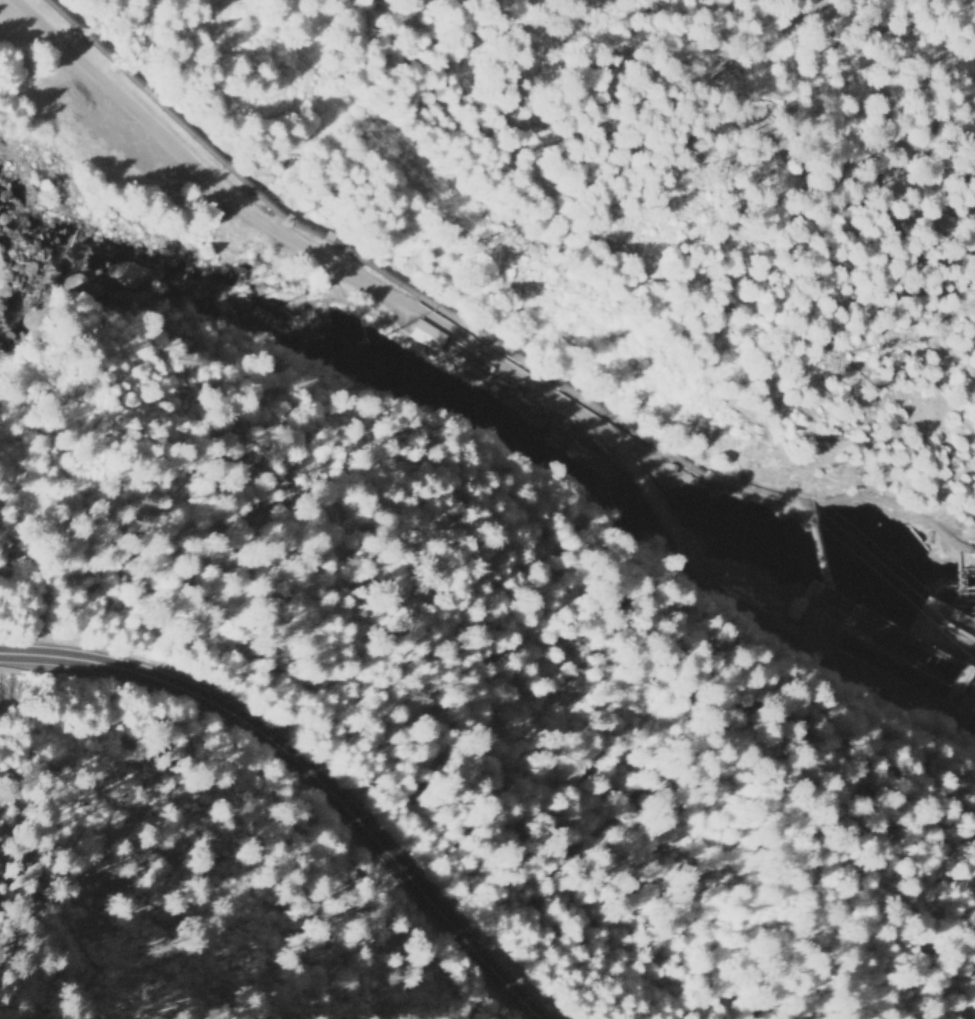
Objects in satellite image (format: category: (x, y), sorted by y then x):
road: (522, 232)
road: (303, 250)
building: (423, 336)
river: (494, 450)
road: (676, 503)
road: (826, 664)
dam: (970, 701)
road: (293, 780)

